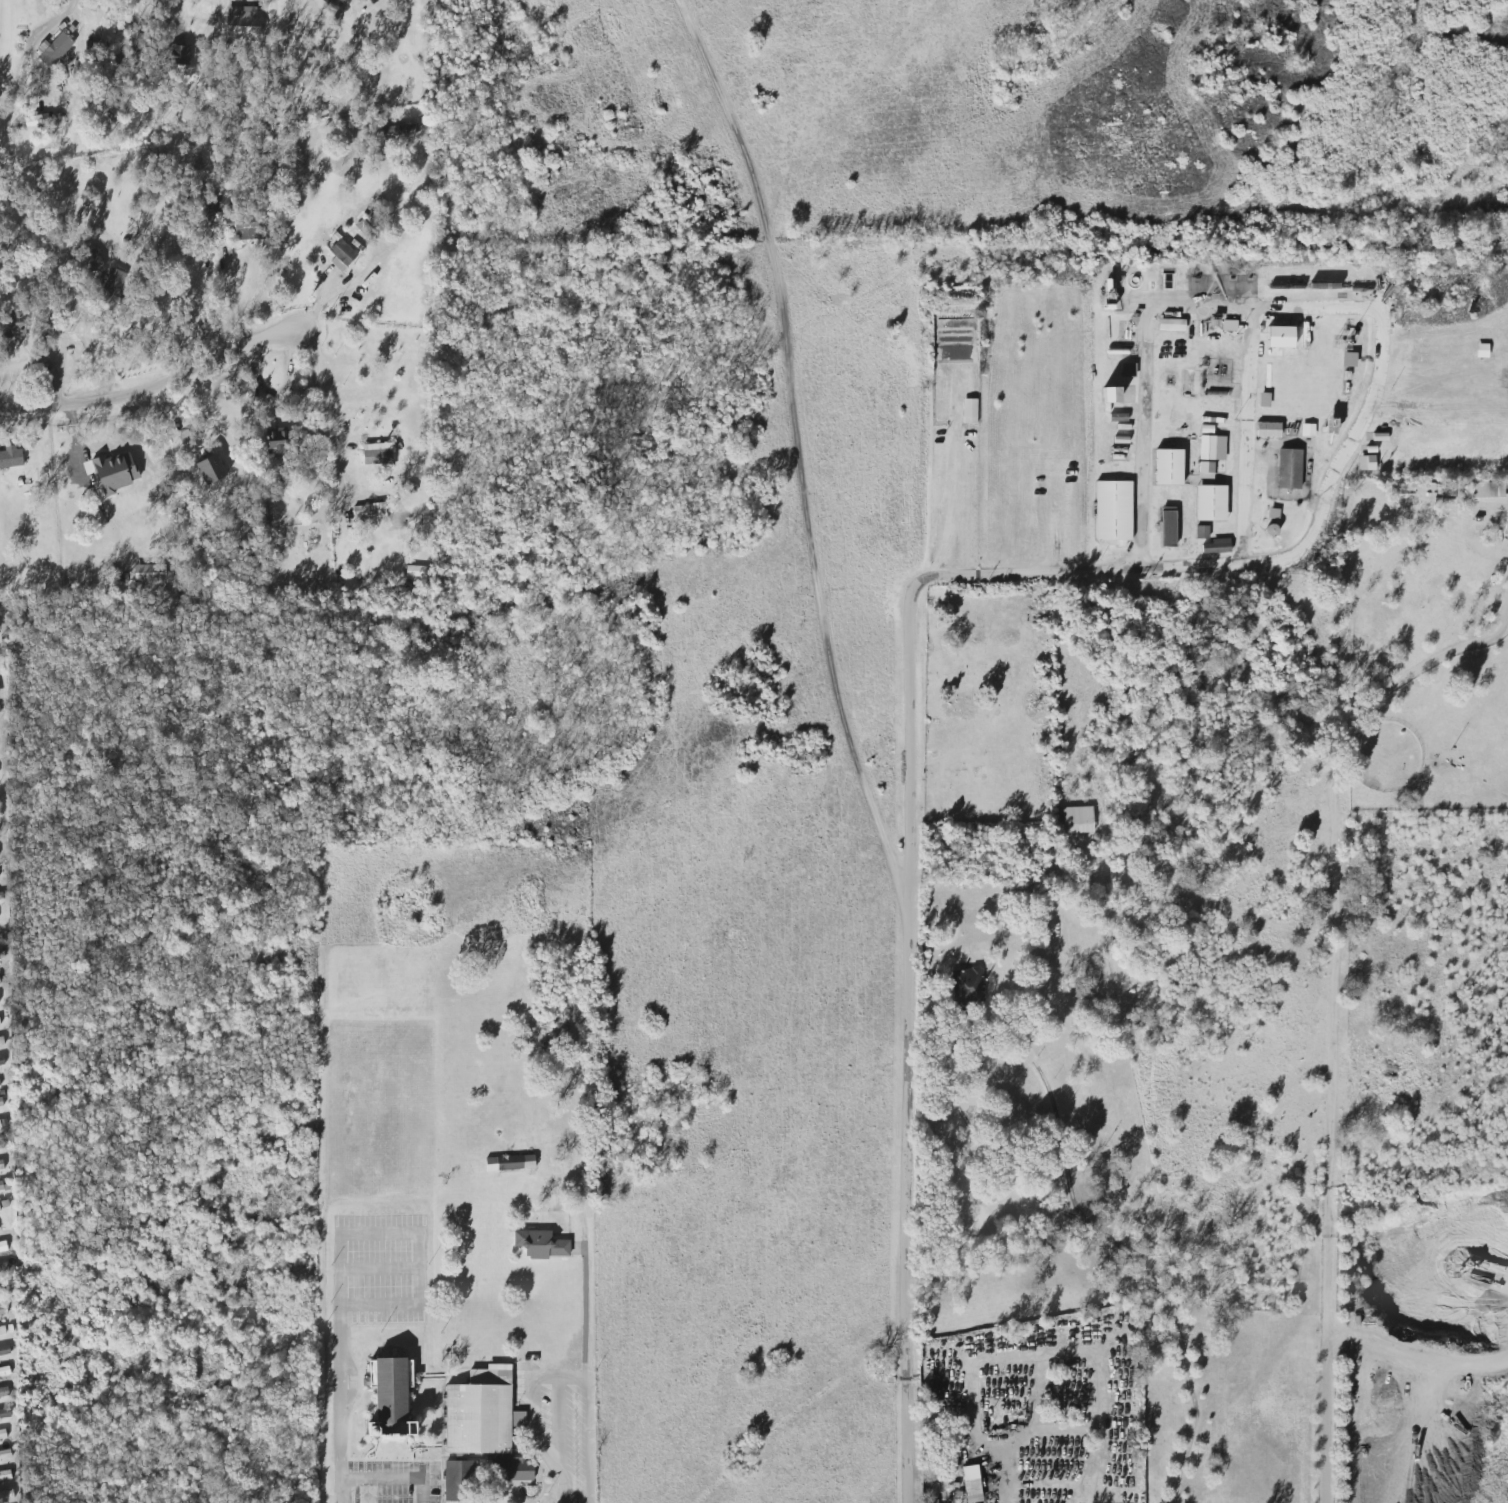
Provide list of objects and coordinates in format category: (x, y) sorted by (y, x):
road: (71, 8)
building: (242, 21)
building: (54, 49)
building: (180, 54)
building: (400, 130)
building: (342, 255)
building: (111, 288)
road: (231, 299)
building: (17, 324)
building: (1171, 325)
road: (170, 329)
building: (1280, 337)
building: (1482, 351)
building: (1349, 360)
building: (1129, 370)
road: (154, 385)
road: (1230, 391)
building: (1264, 400)
road: (1143, 404)
road: (324, 409)
building: (970, 411)
building: (1331, 427)
building: (1268, 430)
building: (1308, 430)
road: (1251, 436)
building: (277, 441)
building: (1212, 448)
road: (805, 451)
building: (377, 454)
building: (1119, 454)
building: (11, 459)
building: (1367, 463)
building: (1169, 467)
building: (211, 469)
building: (1289, 469)
building: (1206, 470)
building: (115, 472)
building: (1487, 492)
building: (1211, 503)
building: (1114, 511)
building: (369, 513)
building: (1168, 527)
building: (1202, 532)
building: (1217, 546)
building: (416, 571)
building: (152, 574)
road: (909, 627)
road: (1396, 680)
park: (984, 704)
building: (1078, 820)
building: (0, 983)
building: (967, 986)
building: (0, 1025)
building: (1, 1041)
building: (1, 1061)
building: (1, 1102)
building: (3, 1122)
building: (1, 1144)
road: (1327, 1149)
building: (510, 1163)
building: (1, 1167)
building: (1, 1185)
building: (0, 1210)
building: (541, 1242)
road: (379, 1267)
road: (421, 1267)
building: (4, 1271)
road: (1145, 1271)
building: (3, 1311)
road: (578, 1320)
building: (10, 1328)
building: (3, 1329)
building: (5, 1348)
road: (1417, 1352)
road: (339, 1368)
building: (4, 1373)
road: (552, 1378)
building: (4, 1391)
building: (391, 1397)
building: (5, 1412)
building: (482, 1413)
road: (560, 1427)
building: (2, 1434)
building: (5, 1455)
building: (514, 1469)
building: (5, 1477)
road: (393, 1479)
road: (999, 1479)
building: (459, 1481)
building: (972, 1484)
building: (6, 1495)

